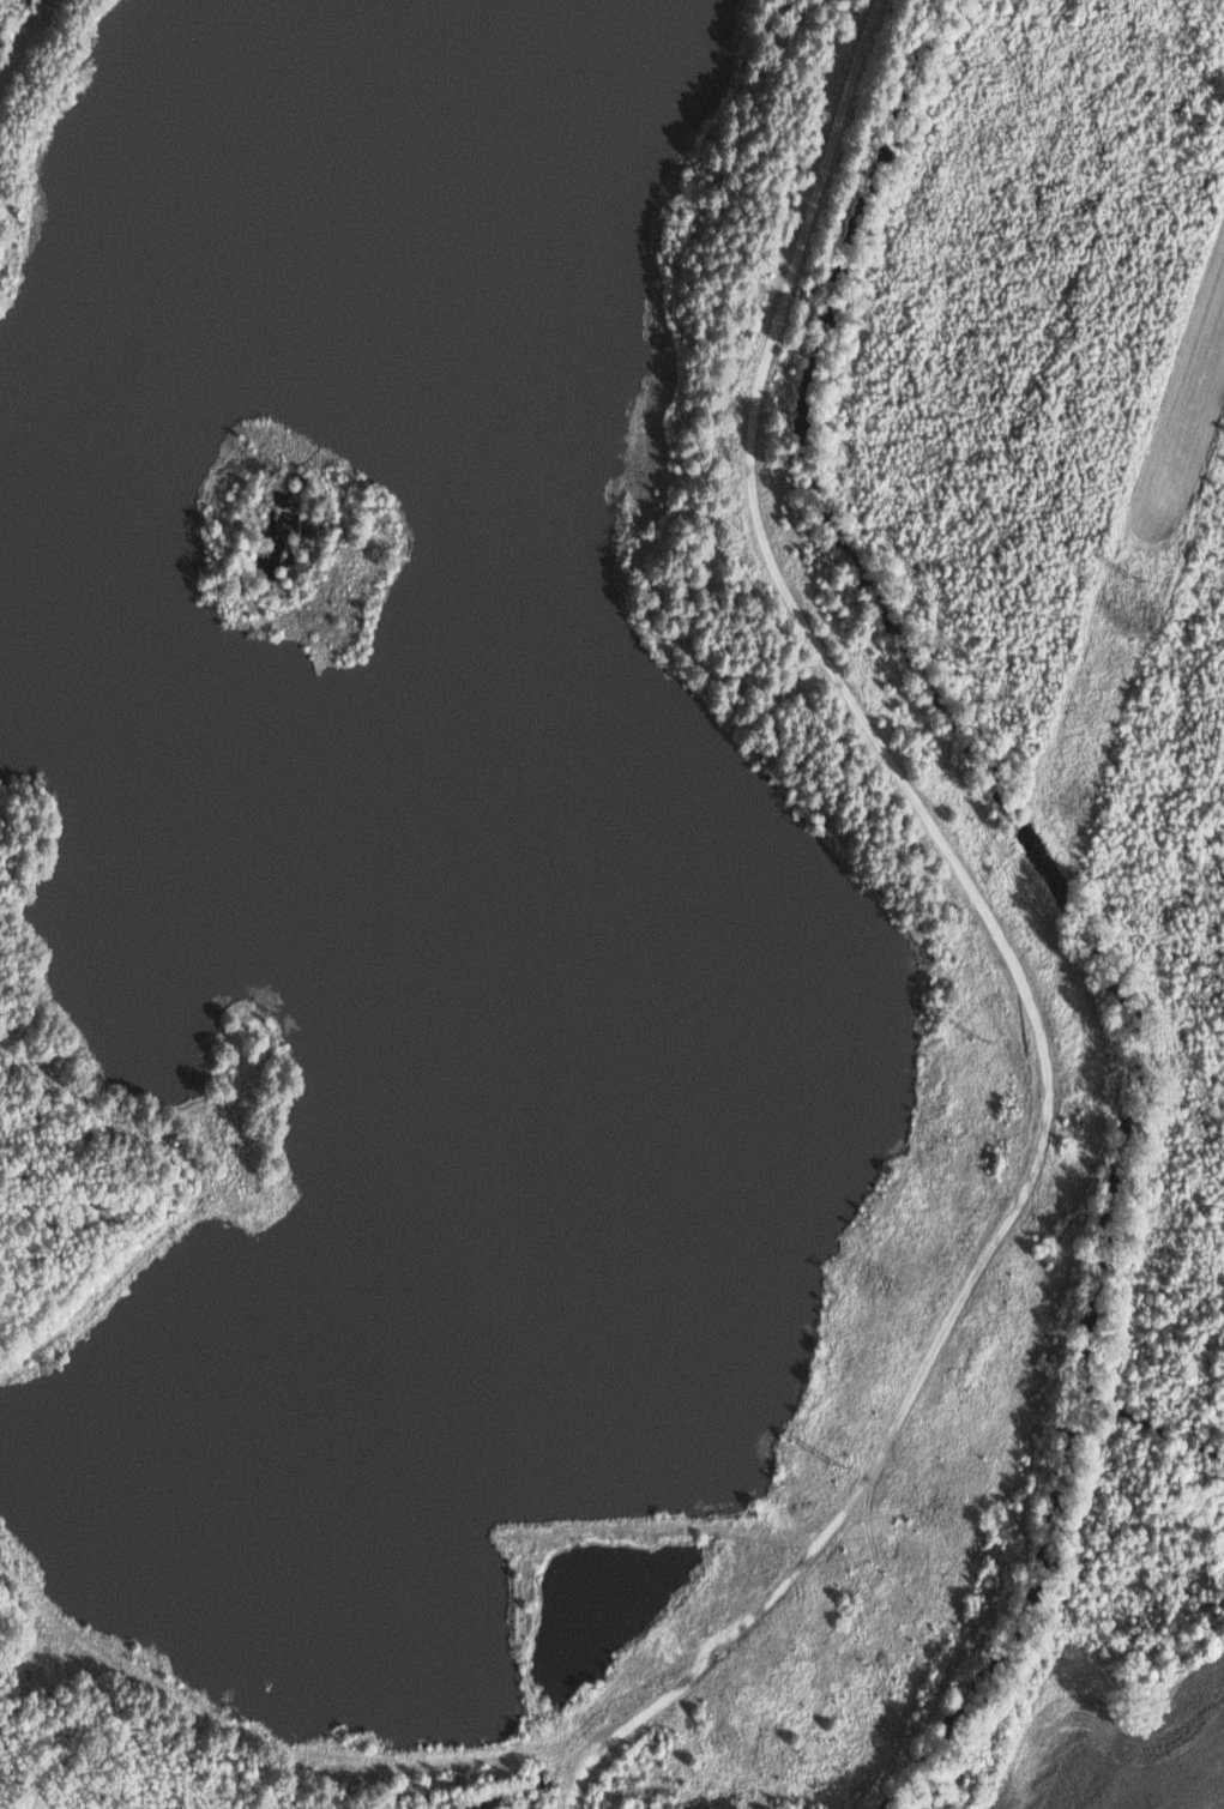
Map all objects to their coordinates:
power tower: (1136, 574)
power tower: (978, 1041)
power tower: (834, 1467)

